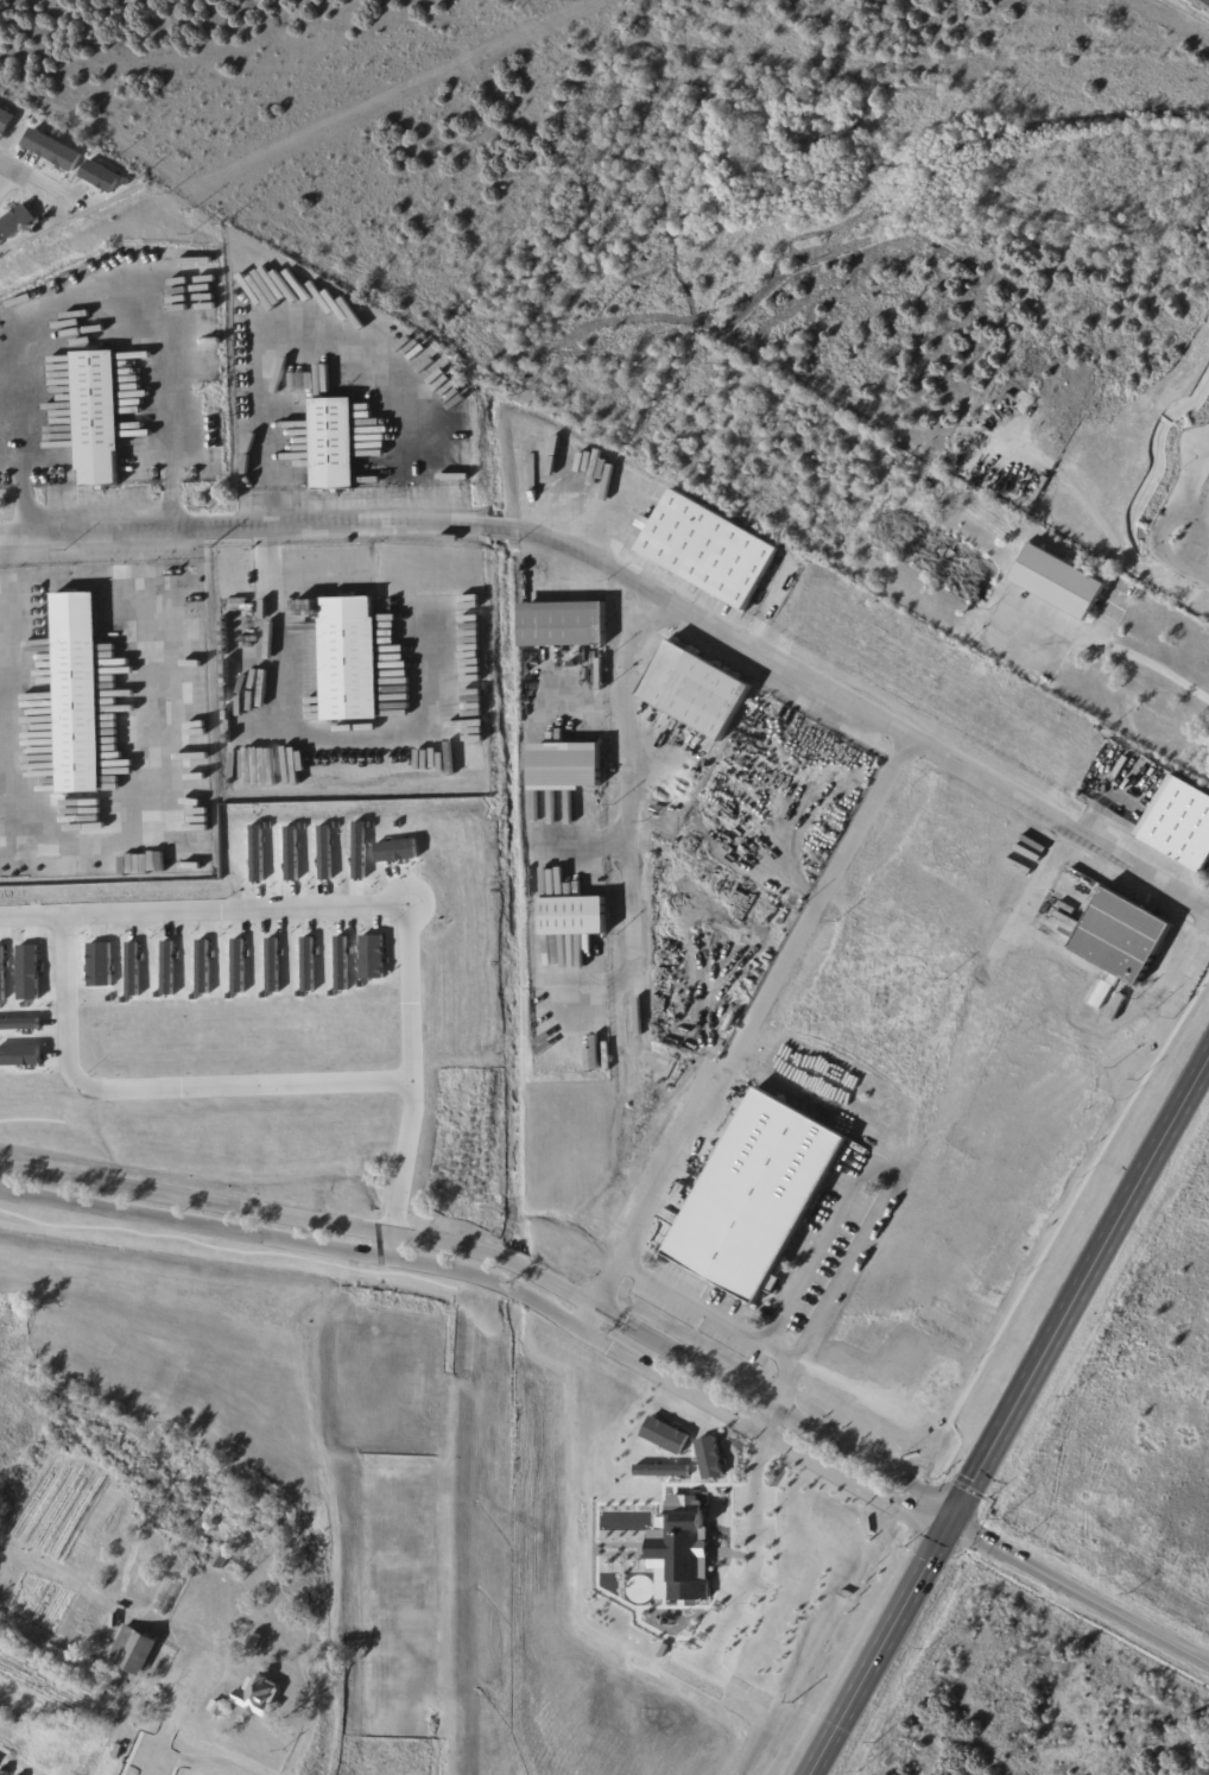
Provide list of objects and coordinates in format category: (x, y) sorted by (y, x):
building: (6, 119)
building: (56, 132)
building: (62, 135)
building: (53, 151)
building: (100, 175)
road: (40, 177)
road: (13, 181)
building: (14, 217)
building: (99, 411)
building: (333, 444)
road: (21, 474)
road: (1188, 480)
parking lot: (1194, 544)
building: (708, 549)
road: (13, 550)
road: (135, 554)
building: (949, 555)
road: (1, 573)
building: (1061, 583)
building: (563, 625)
road: (1125, 655)
building: (350, 658)
building: (696, 690)
building: (76, 693)
road: (866, 713)
road: (319, 734)
building: (564, 768)
building: (1179, 825)
road: (113, 828)
building: (1019, 866)
road: (1045, 878)
road: (388, 909)
building: (575, 916)
building: (1121, 937)
road: (629, 958)
building: (1116, 1006)
road: (753, 1022)
road: (173, 1094)
building: (757, 1195)
road: (822, 1243)
road: (400, 1259)
road: (506, 1261)
road: (1080, 1283)
road: (834, 1293)
road: (709, 1312)
building: (951, 1312)
building: (938, 1332)
building: (935, 1379)
road: (770, 1419)
road: (856, 1482)
road: (754, 1552)
building: (220, 1560)
building: (167, 1584)
road: (1080, 1590)
building: (113, 1621)
building: (253, 1643)
road: (880, 1648)
building: (133, 1650)
building: (258, 1695)
building: (139, 1705)
building: (217, 1707)
building: (133, 1717)
road: (159, 1744)

